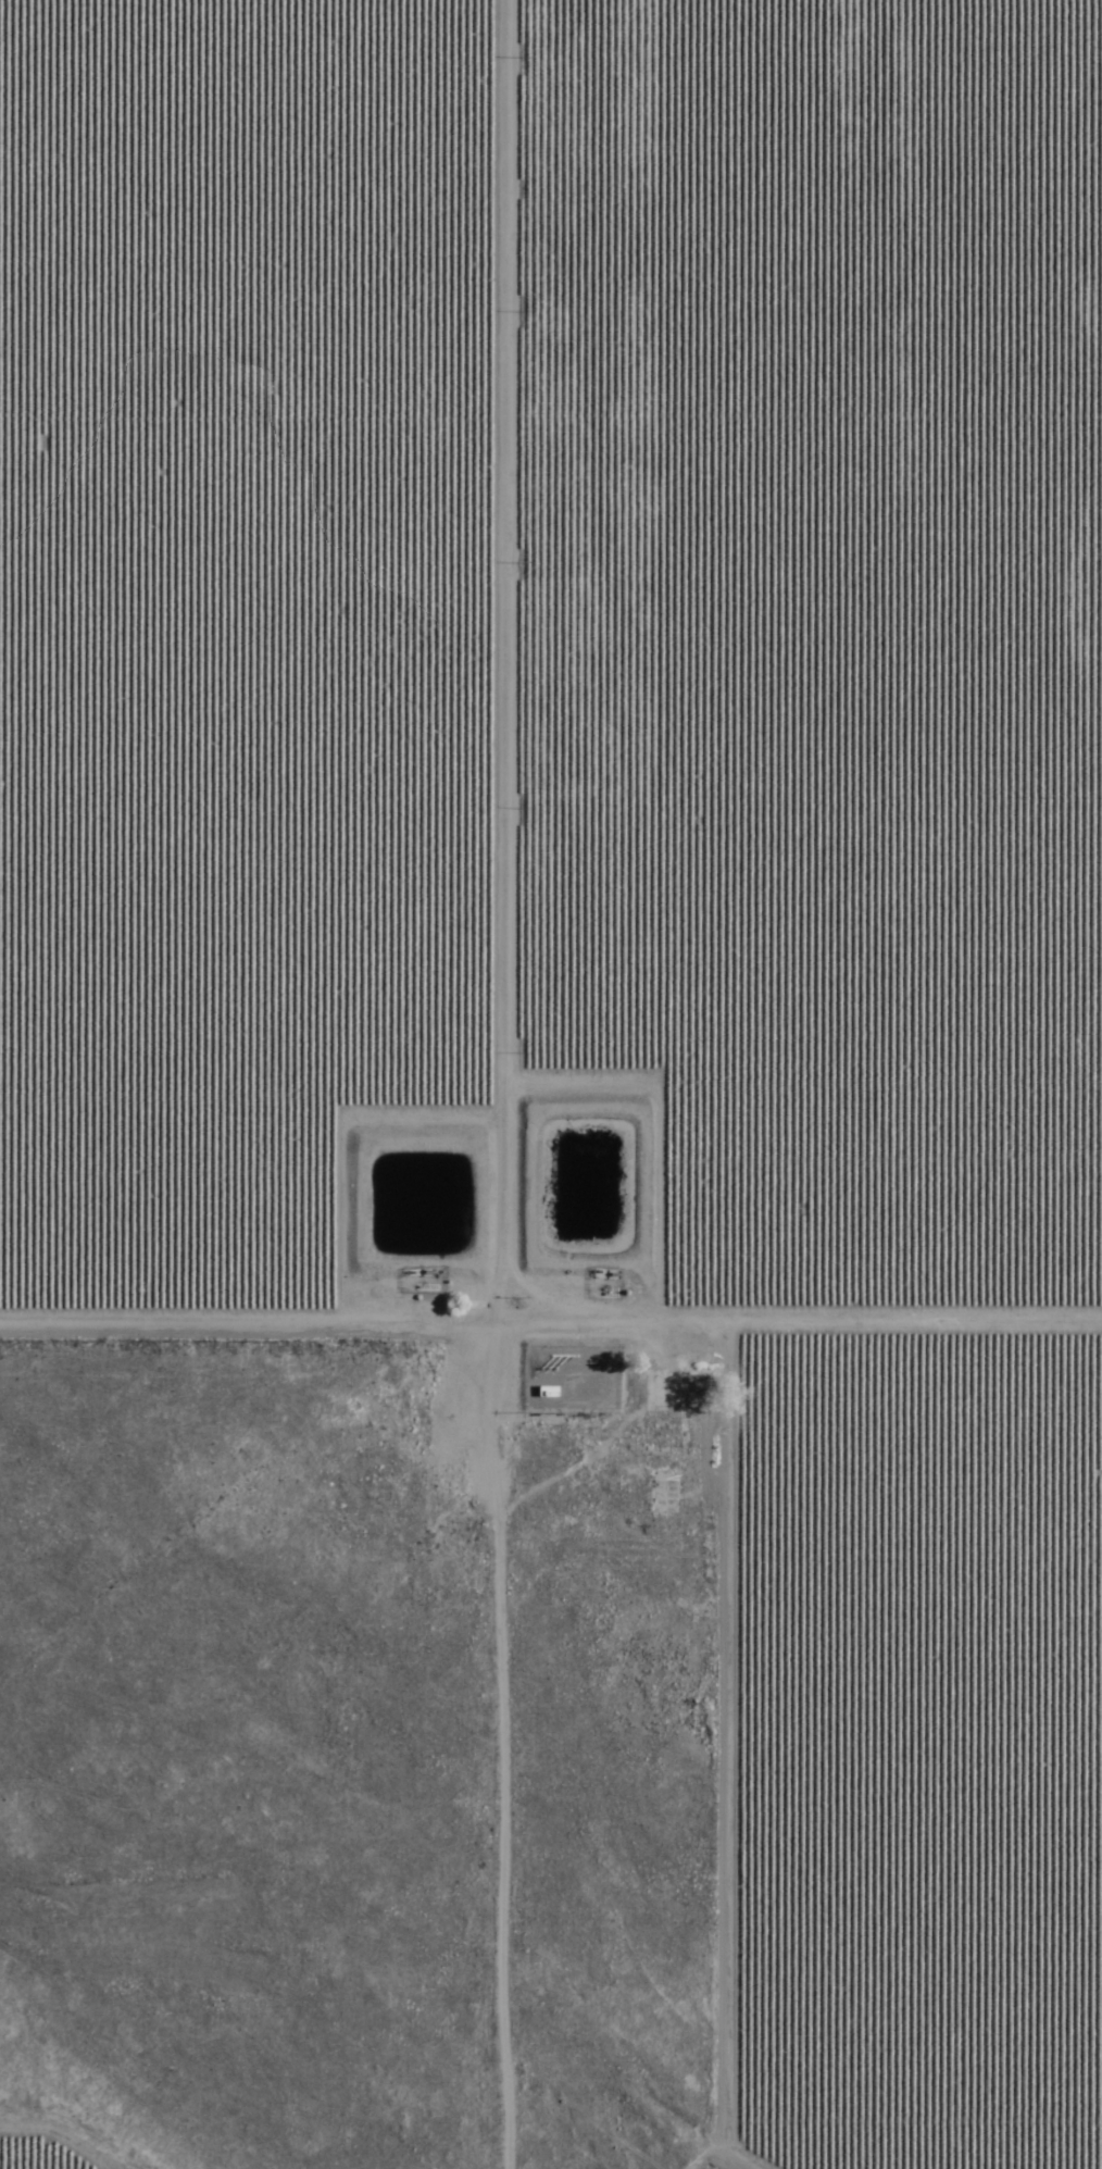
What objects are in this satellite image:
crop: (617, 848)
road: (533, 1084)
road: (551, 1330)
road: (616, 2136)
crop: (42, 2153)

